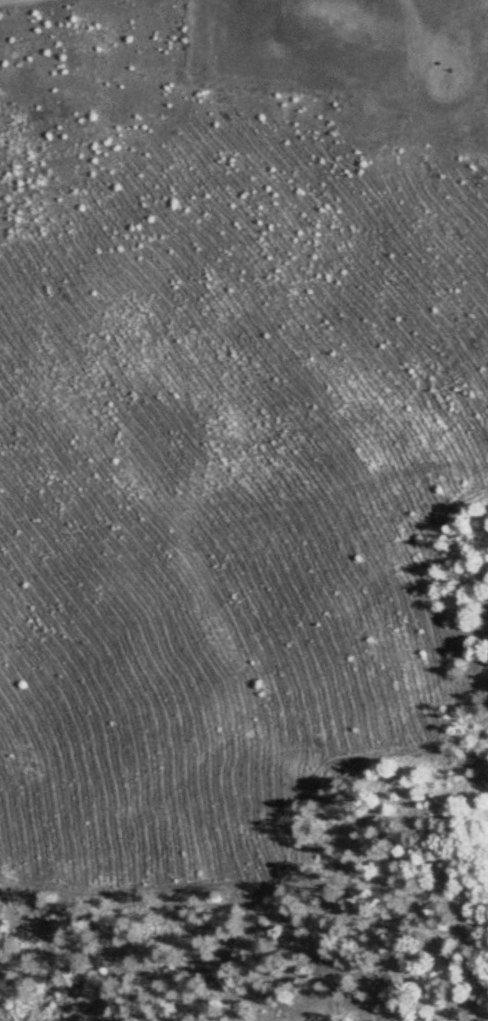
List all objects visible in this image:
road: (22, 2)
petroleum well: (443, 84)

